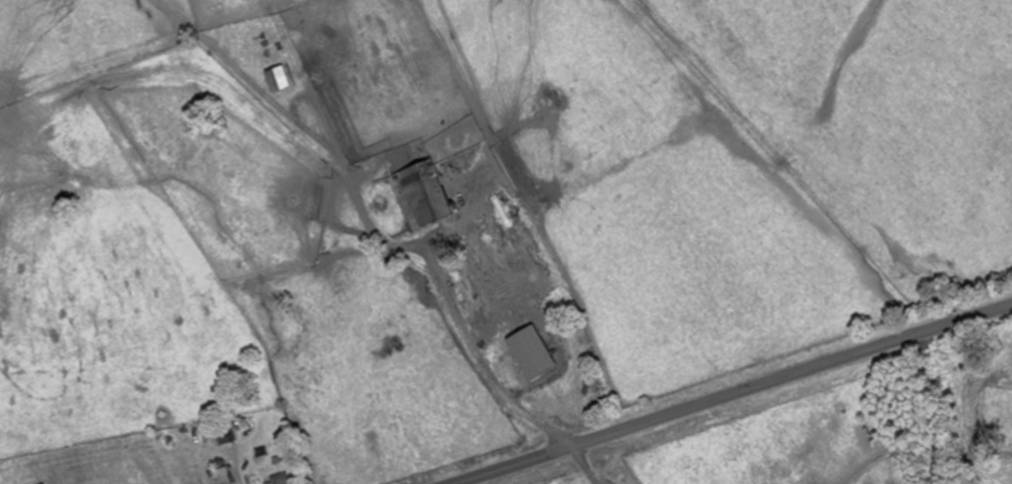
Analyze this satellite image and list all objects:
building: (275, 79)
building: (422, 193)
road: (731, 393)
building: (223, 429)
building: (220, 475)
building: (278, 479)

